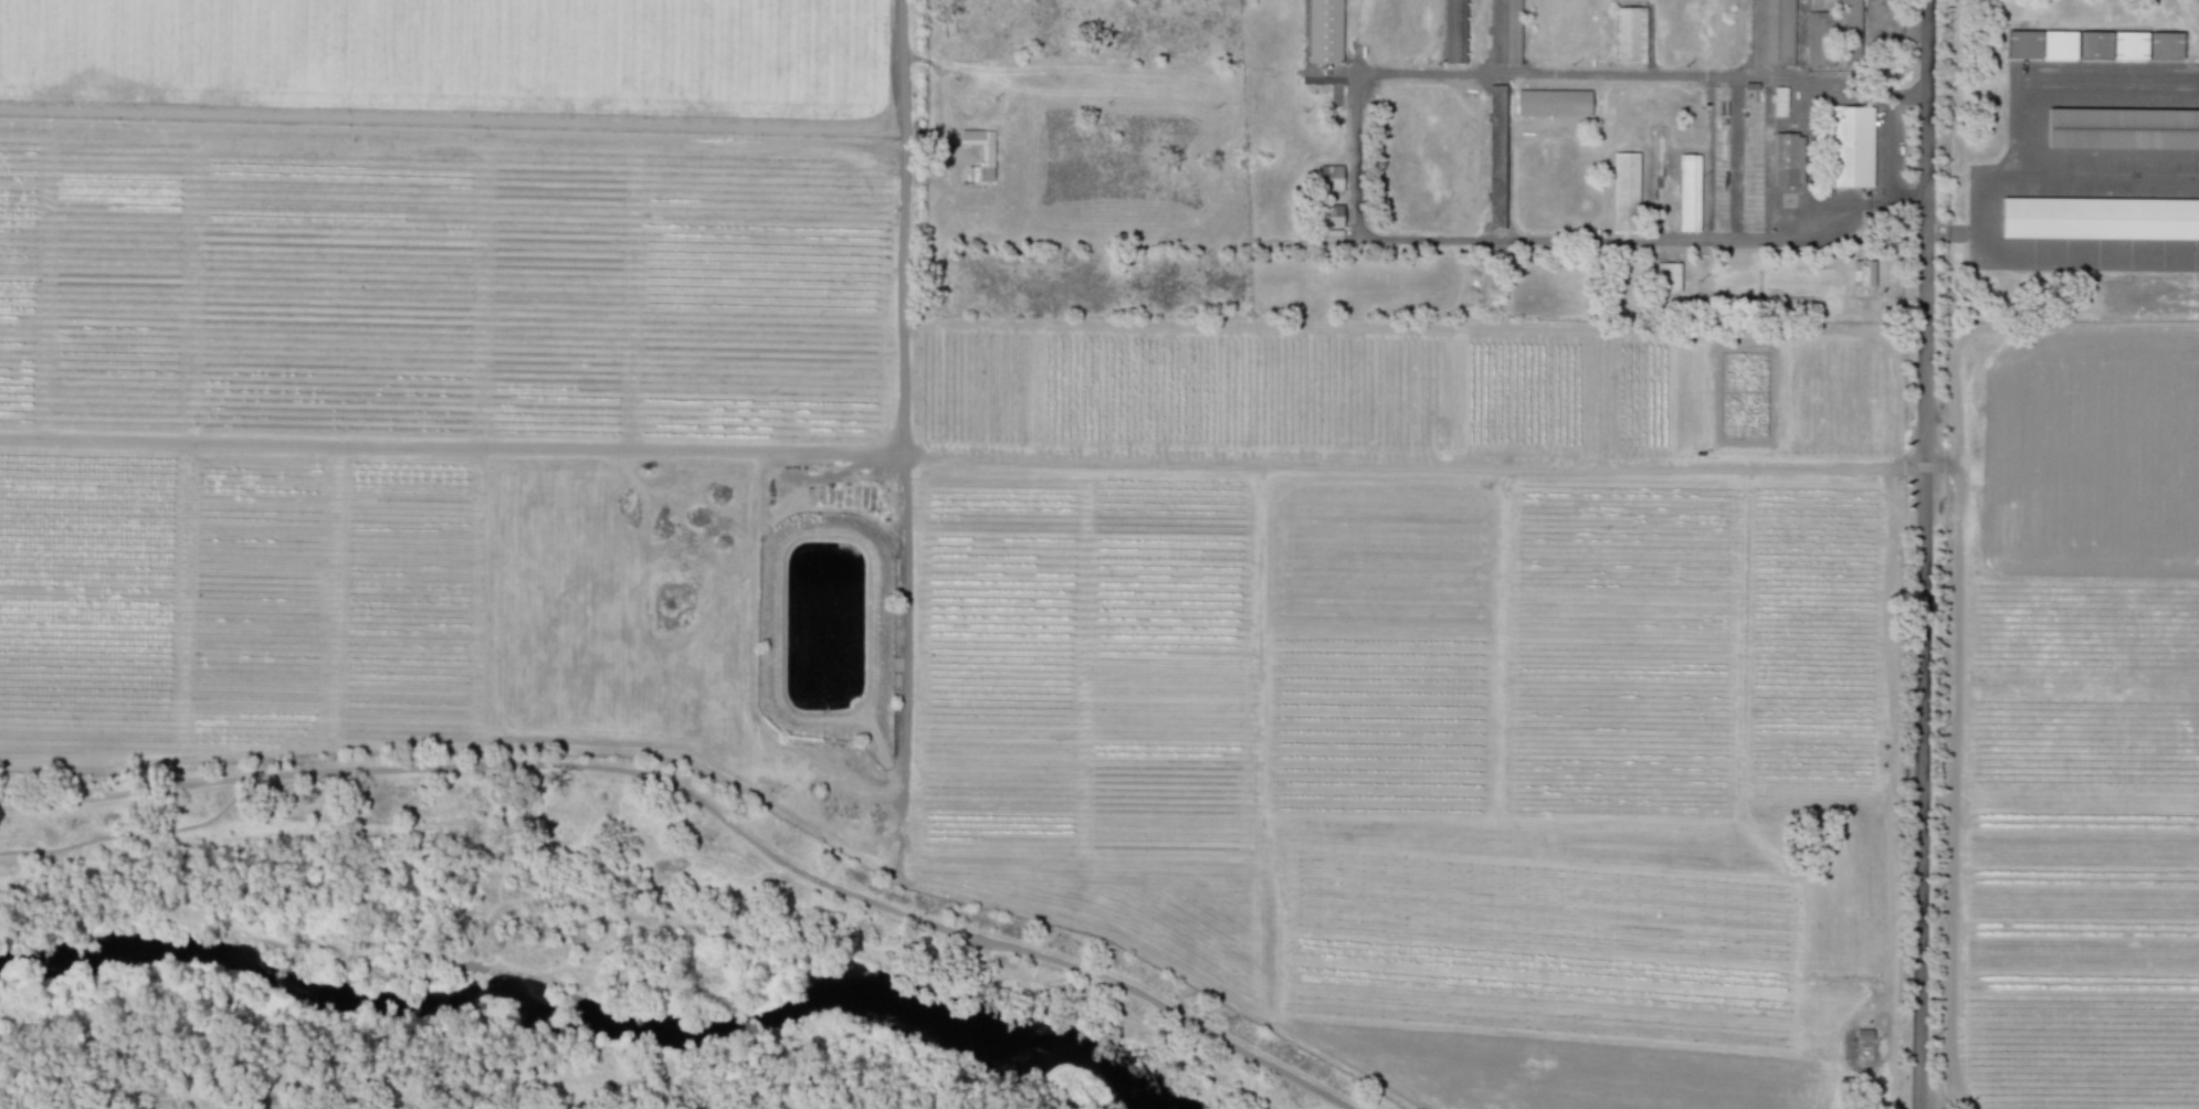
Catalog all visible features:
building: (1501, 27)
building: (1324, 31)
building: (1454, 31)
building: (1772, 32)
building: (1851, 32)
building: (1632, 38)
building: (1819, 38)
building: (2023, 43)
building: (2059, 43)
building: (2094, 44)
building: (2129, 44)
building: (2165, 45)
road: (909, 54)
road: (1566, 74)
building: (1779, 101)
building: (1553, 102)
road: (445, 115)
building: (2123, 128)
road: (446, 129)
airport apron: (2092, 135)
road: (1891, 145)
building: (1853, 147)
building: (988, 150)
road: (1507, 156)
road: (1737, 157)
building: (1787, 159)
airport: (2074, 160)
building: (1329, 177)
building: (1627, 194)
building: (1691, 194)
building: (1330, 215)
building: (2100, 216)
road: (1945, 233)
road: (1646, 240)
building: (1865, 274)
building: (1667, 276)
road: (905, 435)
road: (960, 452)
road: (1922, 553)
road: (749, 619)
road: (464, 744)
road: (1891, 786)
road: (706, 803)
road: (130, 833)
road: (648, 891)
road: (808, 948)
road: (989, 959)
road: (1065, 969)
road: (599, 971)
river: (587, 1004)

